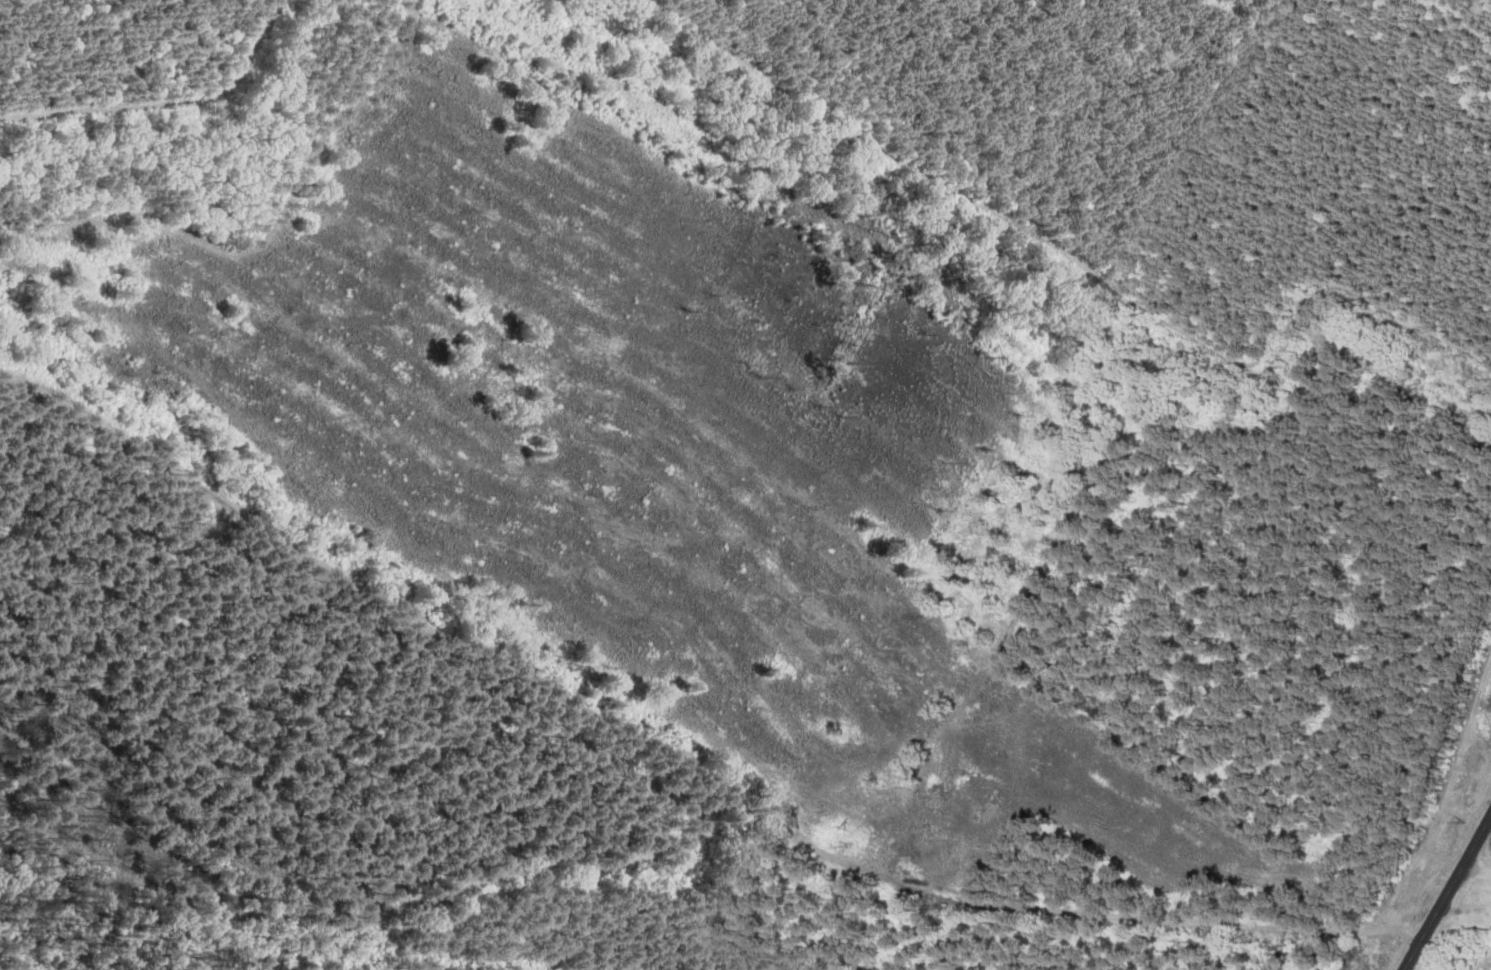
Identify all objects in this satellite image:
road: (1448, 892)

